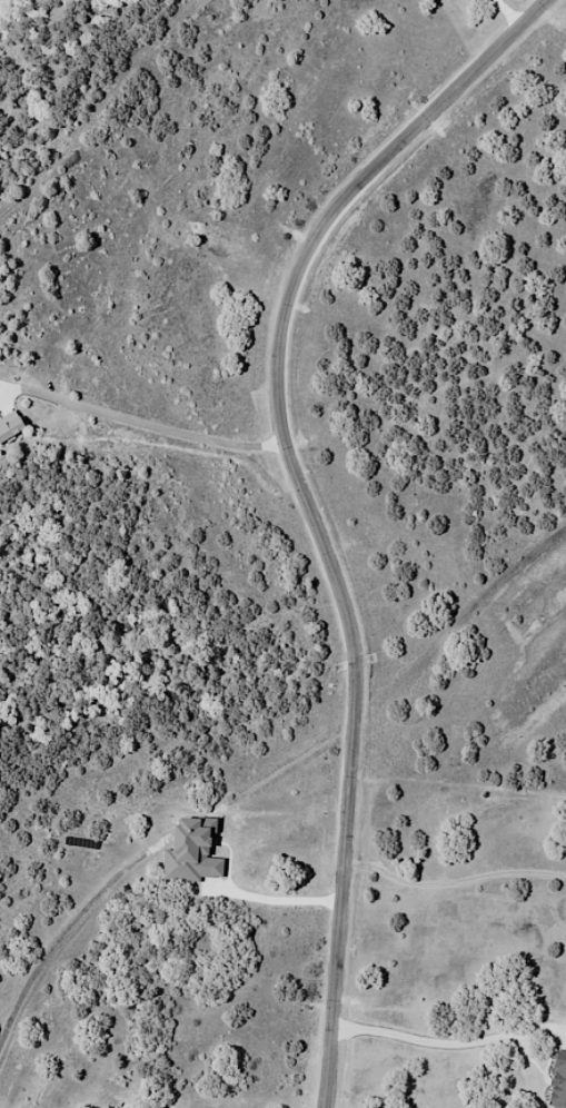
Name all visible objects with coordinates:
road: (155, 425)
building: (14, 428)
road: (307, 504)
building: (192, 852)
road: (453, 884)
building: (560, 1085)

